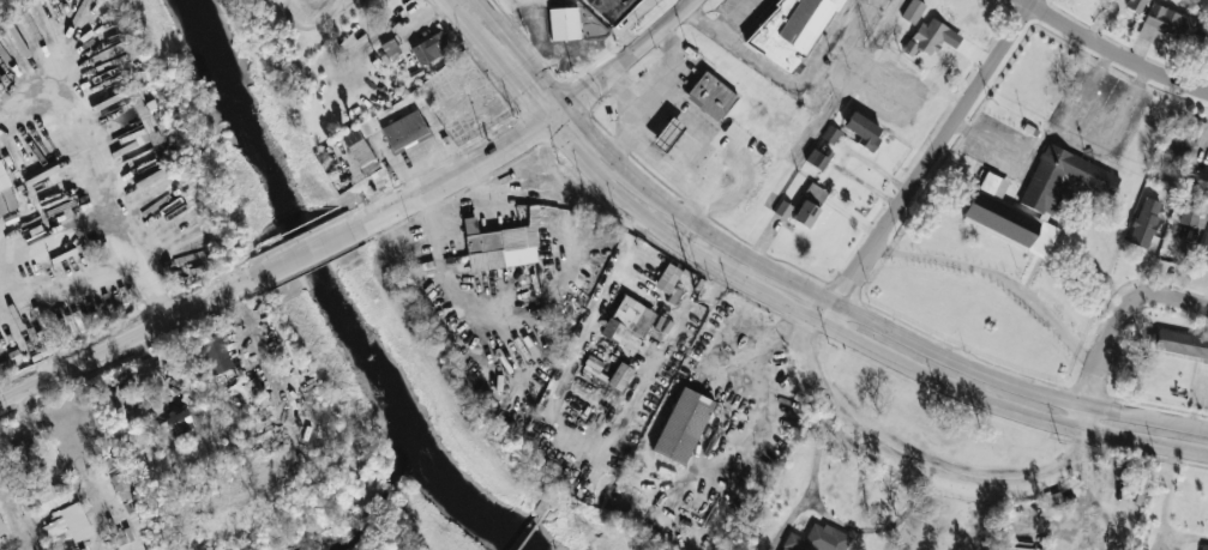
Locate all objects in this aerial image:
building: (1135, 5)
building: (611, 8)
building: (912, 11)
building: (1168, 23)
building: (564, 24)
road: (539, 31)
building: (795, 31)
road: (717, 32)
building: (926, 37)
power tower: (870, 46)
building: (390, 48)
building: (428, 48)
road: (577, 49)
road: (521, 53)
road: (626, 53)
road: (1112, 53)
road: (495, 60)
road: (650, 86)
road: (620, 87)
road: (806, 89)
road: (1088, 91)
building: (710, 97)
traffic signals: (565, 105)
road: (76, 108)
road: (554, 114)
traffic signals: (543, 123)
building: (404, 129)
road: (588, 129)
building: (864, 131)
road: (1068, 132)
building: (829, 133)
building: (667, 134)
building: (1183, 138)
road: (692, 150)
building: (359, 151)
road: (653, 151)
building: (817, 158)
road: (927, 162)
road: (457, 173)
building: (1197, 180)
building: (6, 195)
building: (1035, 199)
building: (783, 210)
building: (1190, 211)
building: (805, 213)
building: (1144, 222)
road: (50, 237)
road: (313, 244)
building: (499, 246)
building: (1203, 250)
road: (143, 270)
road: (997, 276)
building: (667, 278)
river: (321, 288)
power tower: (710, 300)
building: (627, 324)
road: (1114, 326)
road: (893, 330)
road: (38, 333)
road: (851, 337)
road: (130, 339)
building: (1182, 344)
building: (216, 353)
building: (620, 376)
road: (560, 387)
building: (172, 425)
building: (683, 425)
road: (25, 428)
building: (26, 458)
road: (919, 464)
building: (131, 496)
building: (42, 500)
road: (96, 516)
power tower: (576, 522)
road: (13, 524)
building: (61, 528)
building: (817, 539)
building: (1203, 548)

